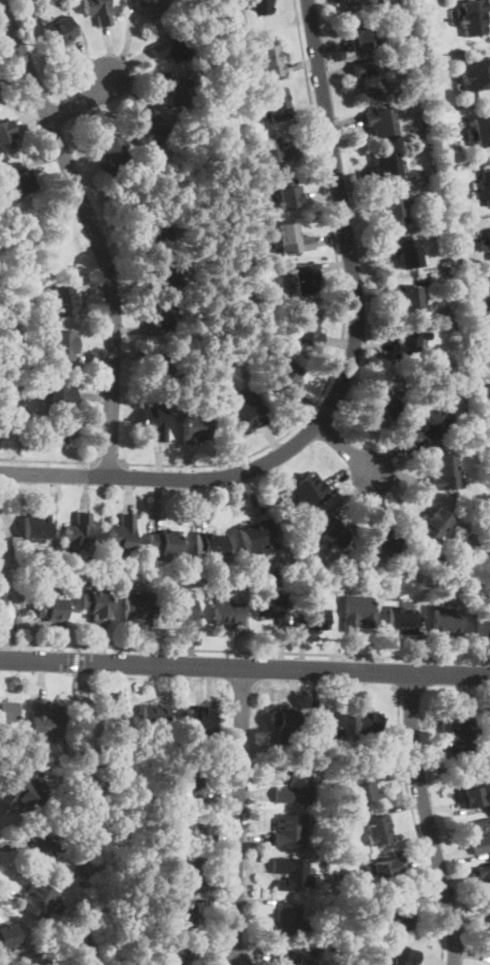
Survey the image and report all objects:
building: (355, 2)
building: (260, 6)
building: (152, 7)
building: (429, 7)
building: (98, 11)
building: (472, 17)
building: (57, 32)
building: (364, 34)
building: (171, 48)
building: (267, 60)
building: (475, 74)
building: (369, 77)
building: (178, 92)
road: (81, 101)
building: (276, 103)
building: (421, 120)
building: (381, 122)
building: (482, 130)
building: (149, 132)
building: (7, 136)
building: (277, 150)
building: (111, 153)
building: (385, 168)
building: (21, 177)
building: (485, 185)
building: (289, 194)
building: (394, 210)
building: (457, 213)
building: (434, 219)
road: (98, 229)
building: (152, 232)
building: (293, 239)
building: (485, 242)
building: (403, 251)
building: (238, 257)
building: (447, 262)
building: (164, 277)
building: (305, 278)
park: (33, 286)
building: (489, 298)
building: (409, 299)
building: (65, 302)
road: (344, 310)
building: (455, 315)
building: (163, 316)
building: (455, 328)
building: (308, 330)
building: (409, 344)
building: (64, 345)
building: (228, 360)
building: (159, 364)
building: (287, 378)
road: (344, 378)
building: (61, 391)
building: (383, 404)
building: (249, 417)
building: (429, 420)
building: (154, 423)
building: (194, 429)
building: (56, 430)
road: (346, 451)
road: (48, 460)
road: (108, 463)
building: (444, 471)
building: (308, 490)
building: (35, 525)
building: (434, 525)
building: (77, 531)
building: (122, 532)
building: (331, 532)
building: (255, 536)
building: (164, 543)
building: (381, 543)
building: (210, 544)
building: (48, 606)
building: (98, 606)
building: (138, 608)
building: (271, 608)
building: (182, 612)
building: (225, 612)
building: (358, 612)
building: (314, 619)
building: (401, 620)
building: (447, 620)
building: (482, 626)
road: (244, 652)
road: (75, 660)
road: (244, 668)
building: (6, 708)
building: (154, 714)
building: (199, 715)
building: (44, 717)
building: (287, 719)
building: (323, 721)
building: (366, 723)
building: (488, 732)
building: (457, 735)
building: (188, 780)
building: (366, 784)
building: (292, 786)
building: (23, 795)
building: (472, 796)
road: (97, 814)
road: (238, 816)
road: (426, 817)
road: (416, 825)
building: (186, 827)
building: (288, 829)
building: (378, 829)
building: (480, 834)
building: (35, 839)
building: (184, 870)
building: (384, 871)
building: (290, 873)
building: (485, 876)
building: (37, 900)
building: (397, 914)
building: (183, 916)
building: (286, 919)
building: (489, 925)
building: (8, 934)
building: (172, 954)
building: (403, 956)
building: (302, 960)

